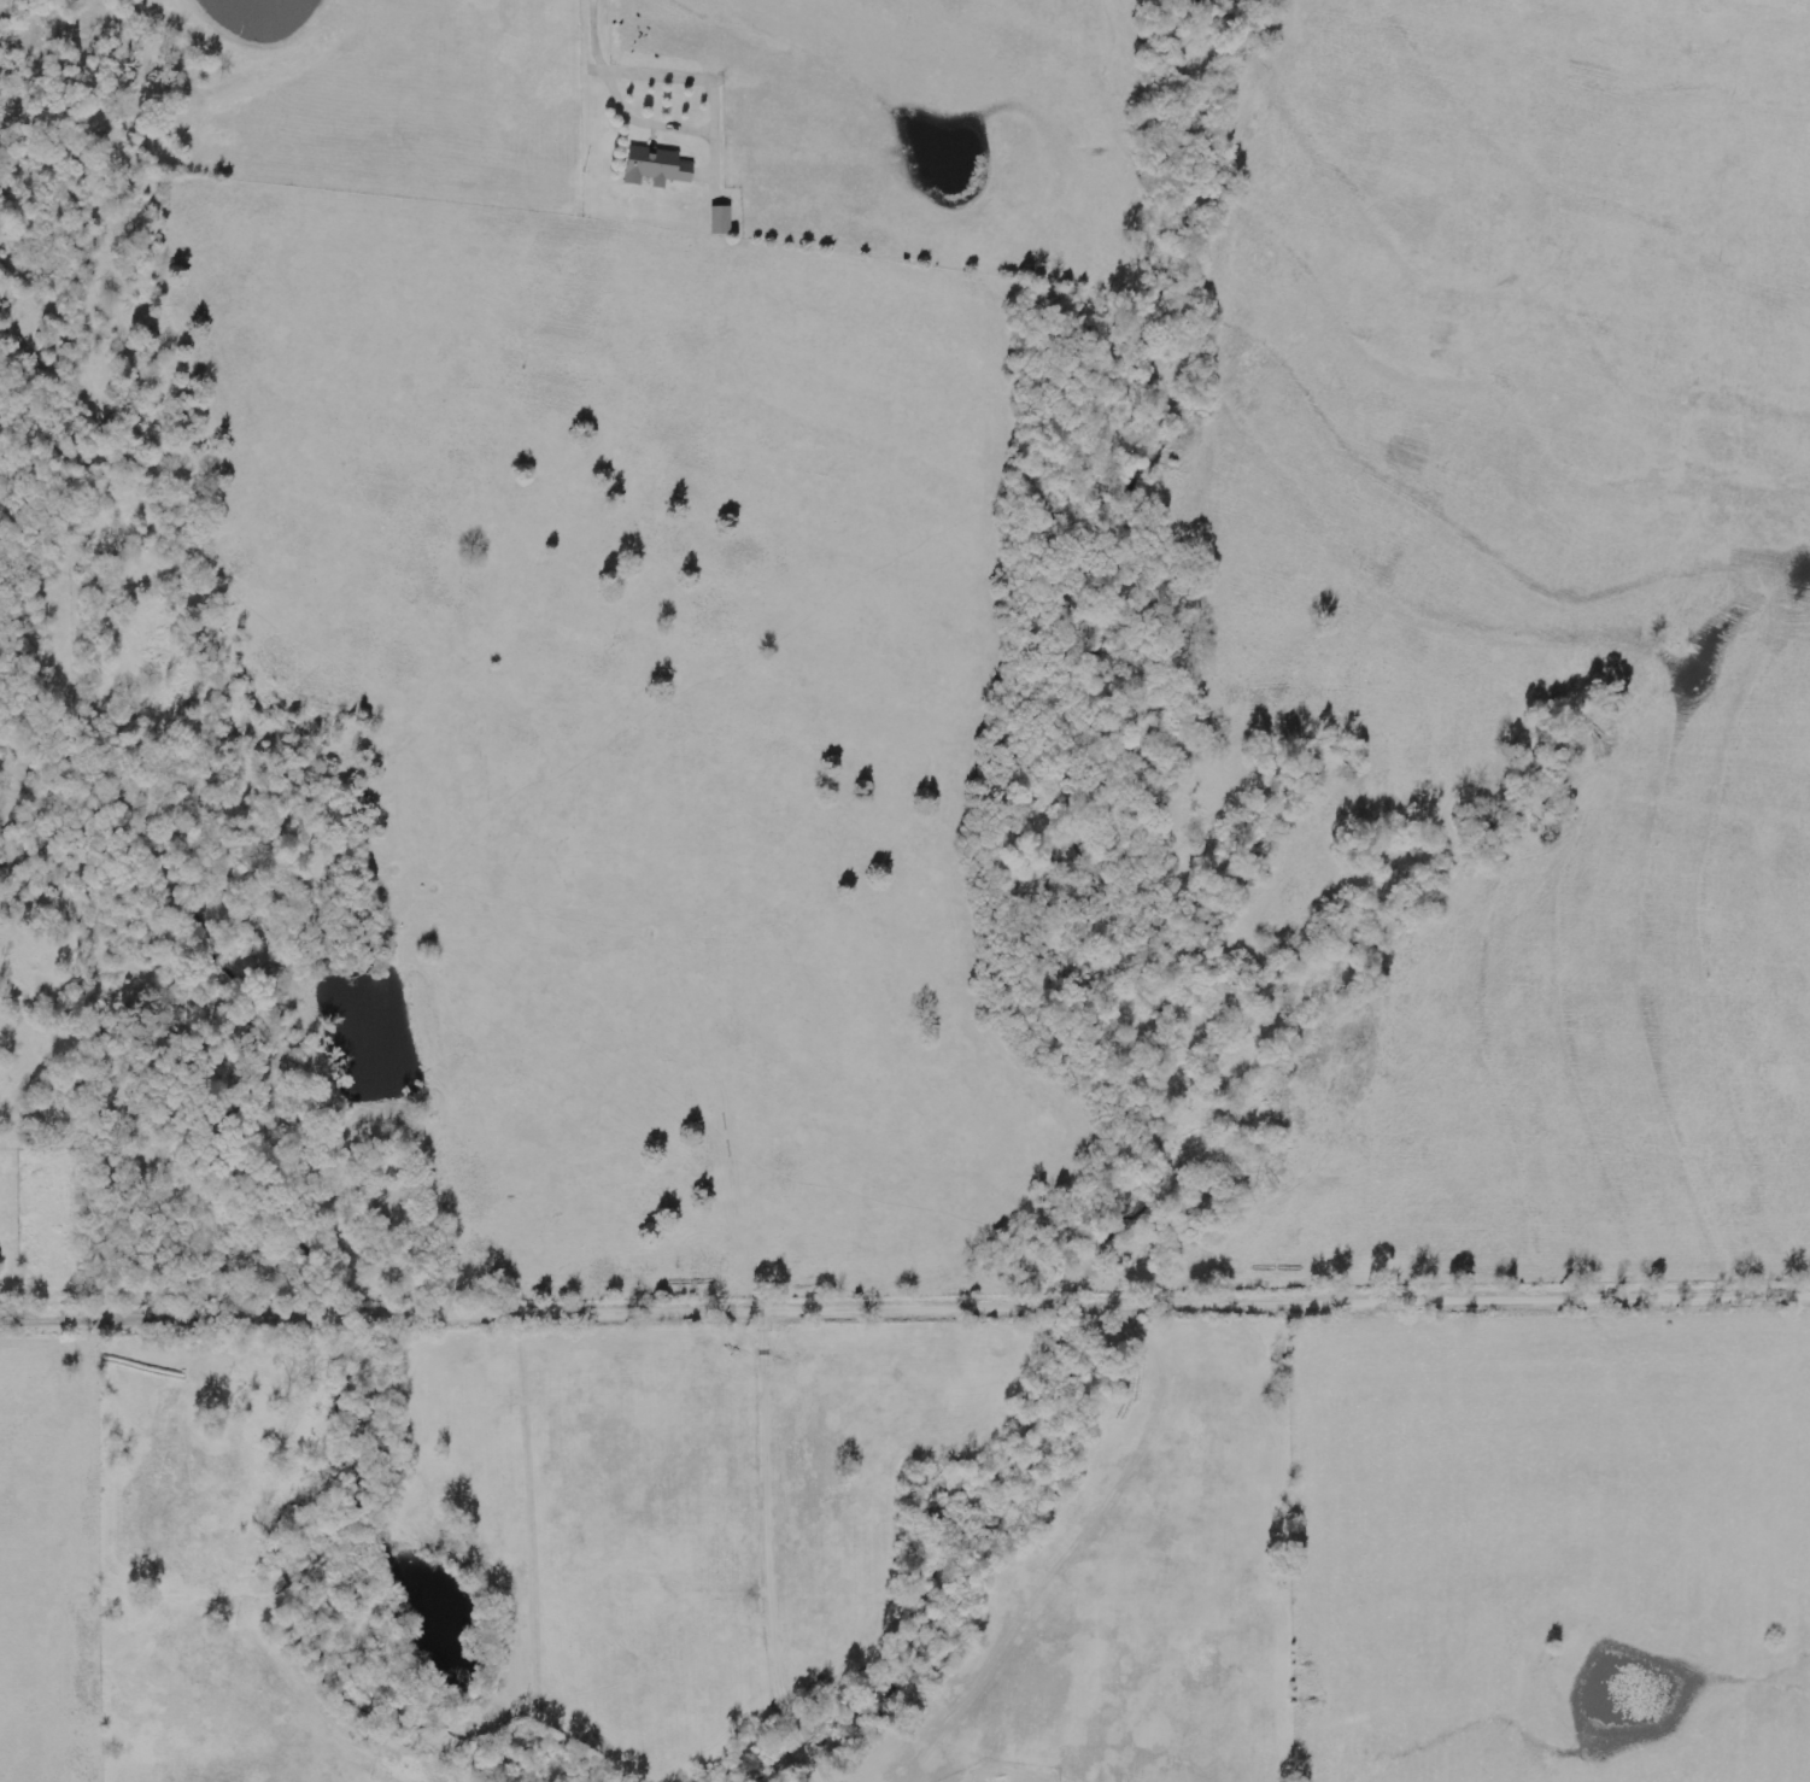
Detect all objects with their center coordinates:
road: (605, 34)
road: (725, 117)
building: (657, 168)
building: (722, 219)
road: (904, 1312)

